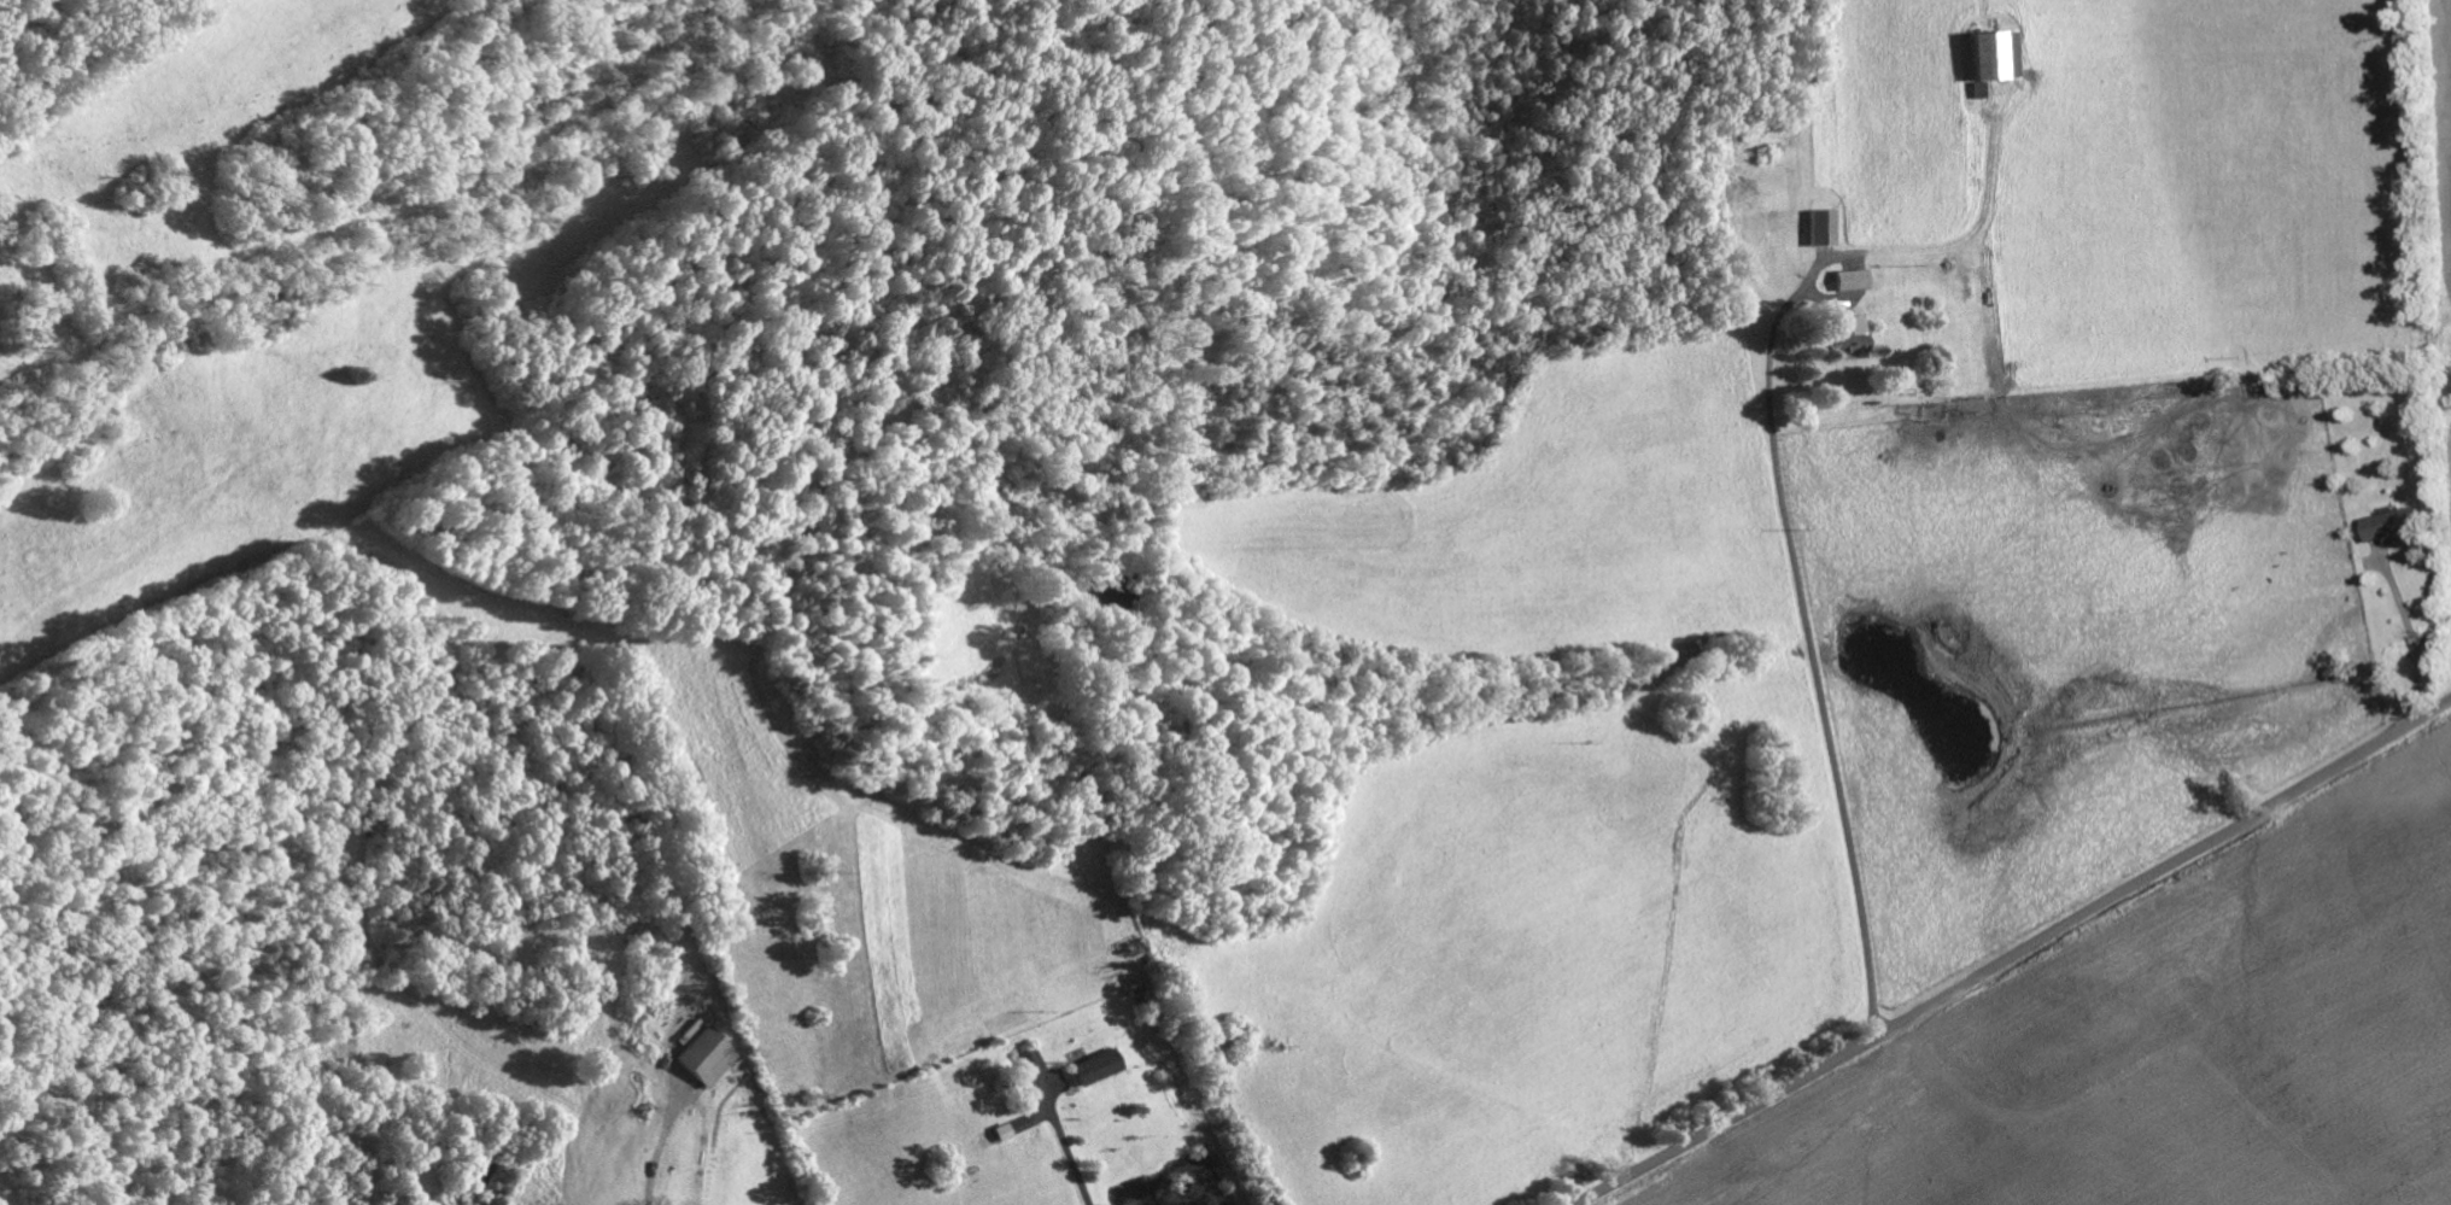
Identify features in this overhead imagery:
building: (1990, 54)
building: (1818, 227)
building: (1849, 279)
building: (1847, 335)
building: (2392, 525)
road: (2415, 643)
road: (1812, 678)
road: (2012, 953)
building: (702, 1057)
building: (1030, 1061)
building: (1095, 1066)
road: (1071, 1168)
road: (661, 1171)

